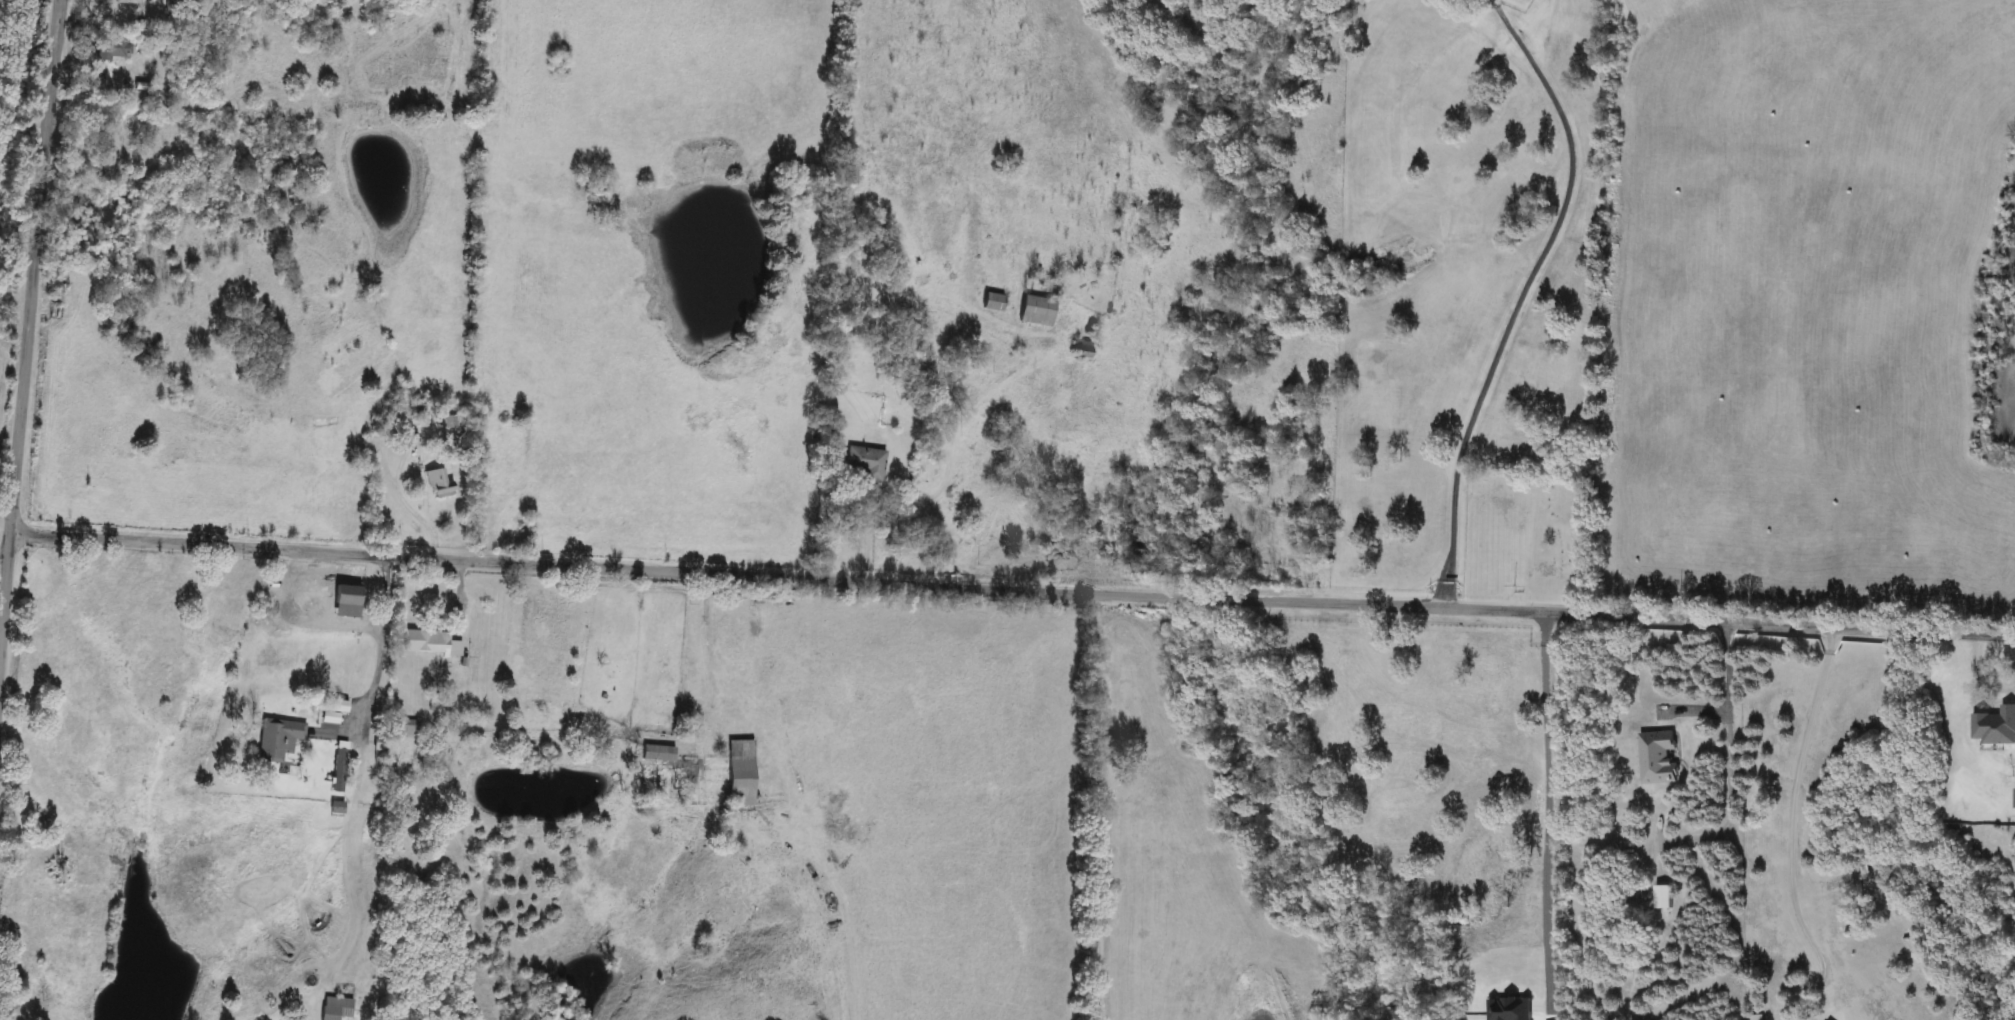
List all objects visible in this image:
building: (120, 1)
building: (108, 48)
road: (1516, 304)
building: (1035, 311)
road: (27, 337)
building: (864, 464)
building: (438, 484)
road: (865, 530)
park: (1521, 537)
road: (1013, 586)
building: (345, 615)
road: (380, 642)
building: (428, 643)
building: (331, 711)
building: (1994, 726)
building: (408, 728)
building: (276, 740)
building: (656, 754)
building: (1656, 757)
road: (1726, 757)
building: (739, 783)
building: (2013, 798)
road: (914, 801)
road: (1546, 812)
road: (1792, 838)
building: (1661, 897)
building: (335, 1009)

